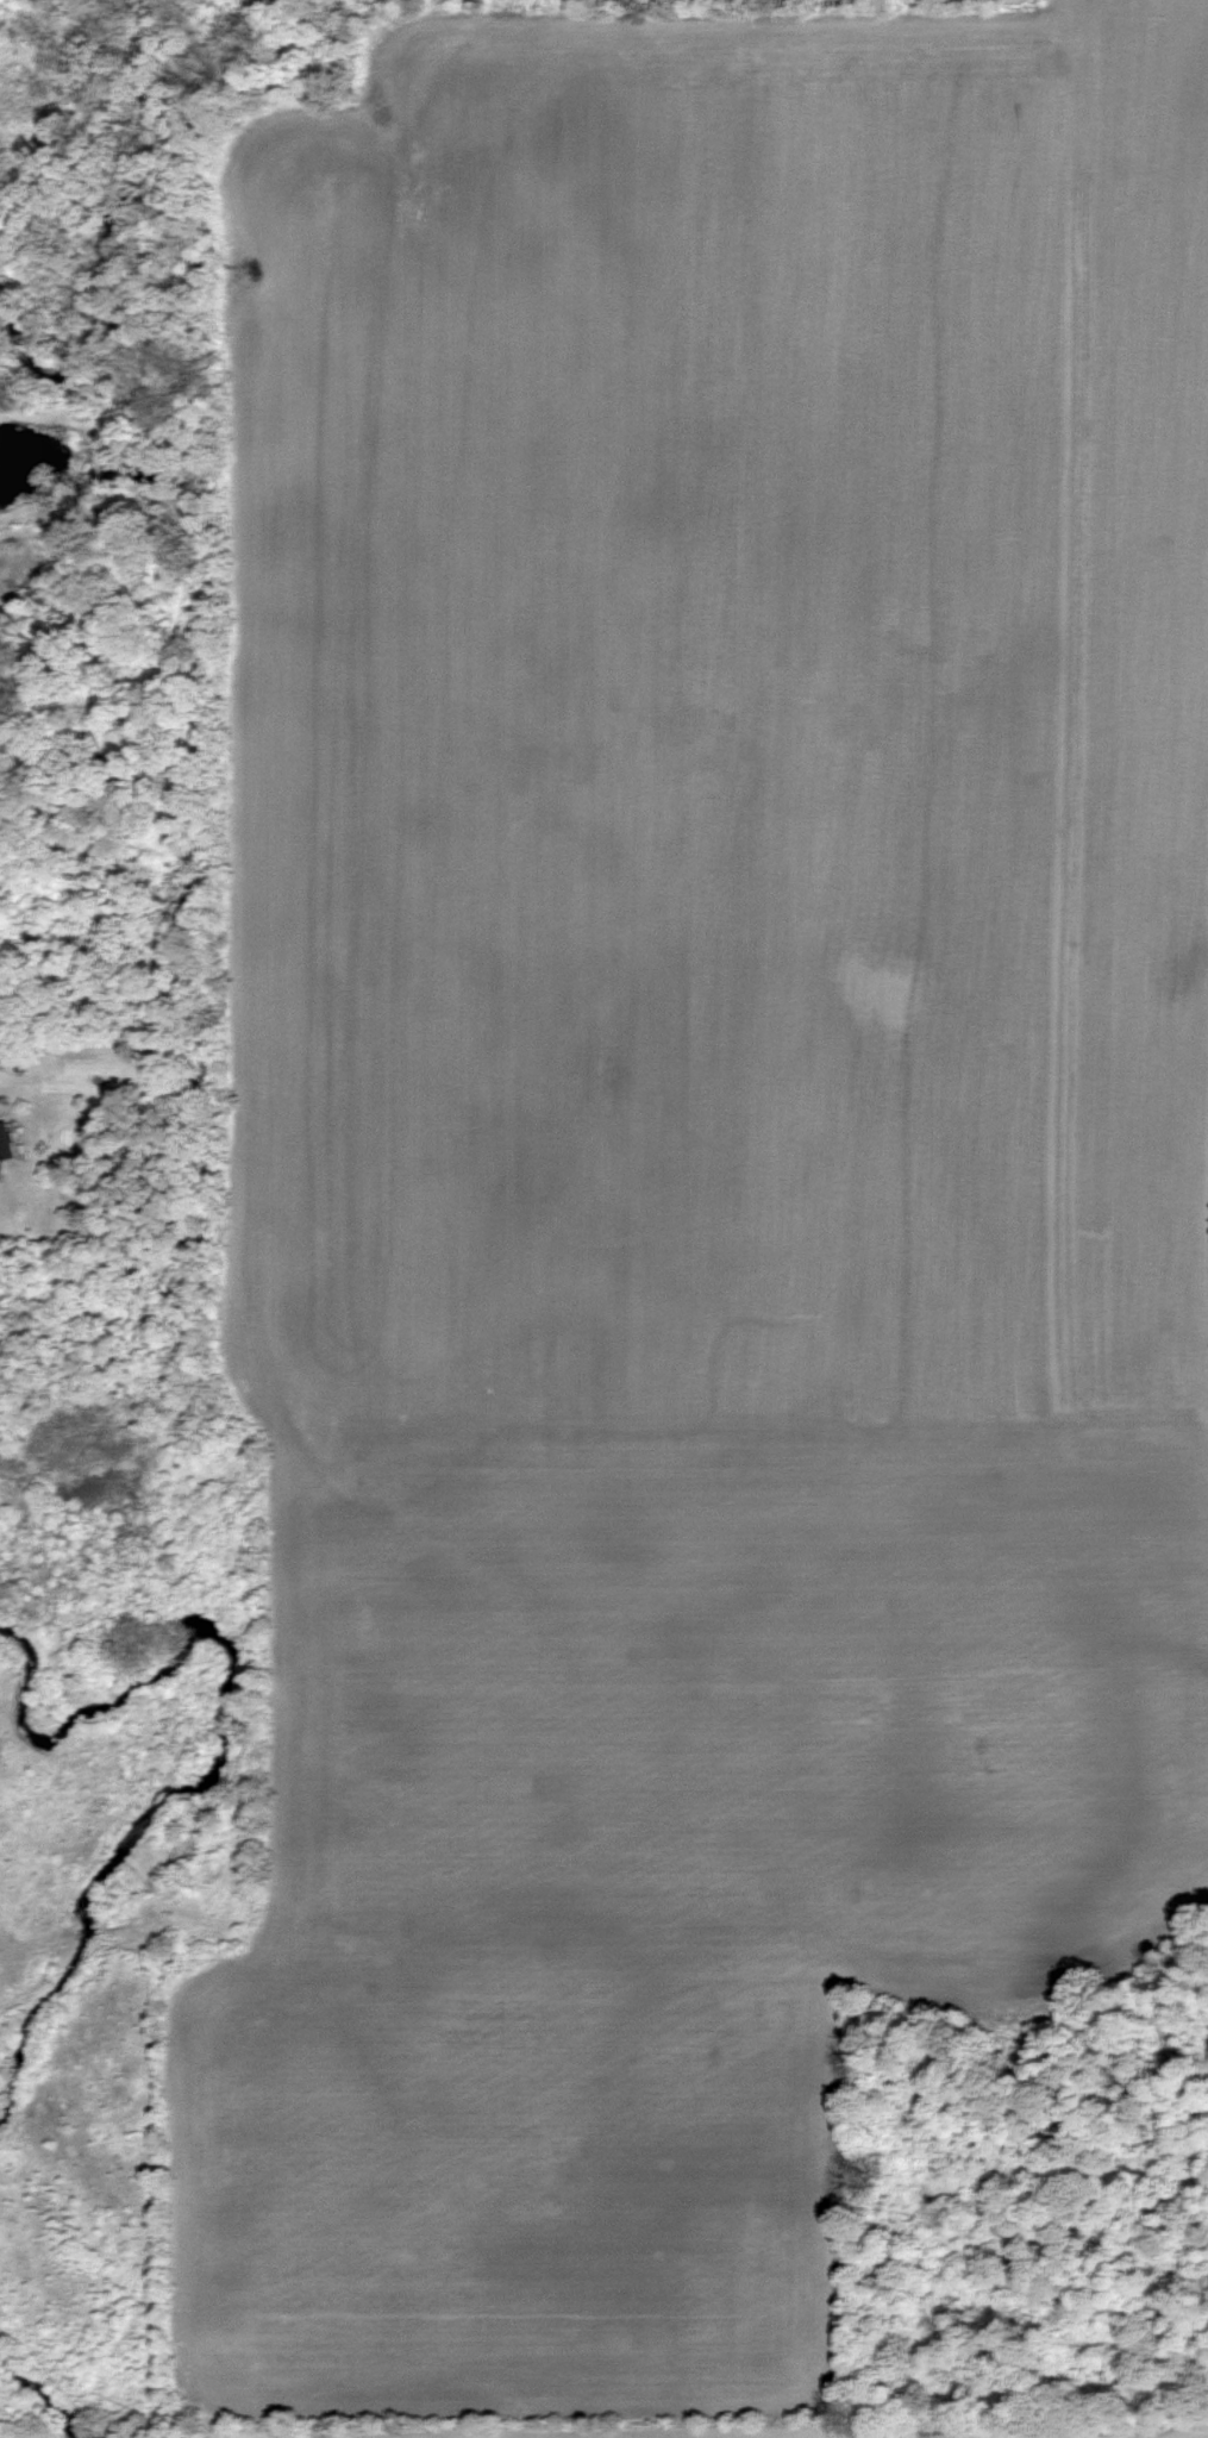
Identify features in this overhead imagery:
building: (10, 1143)

